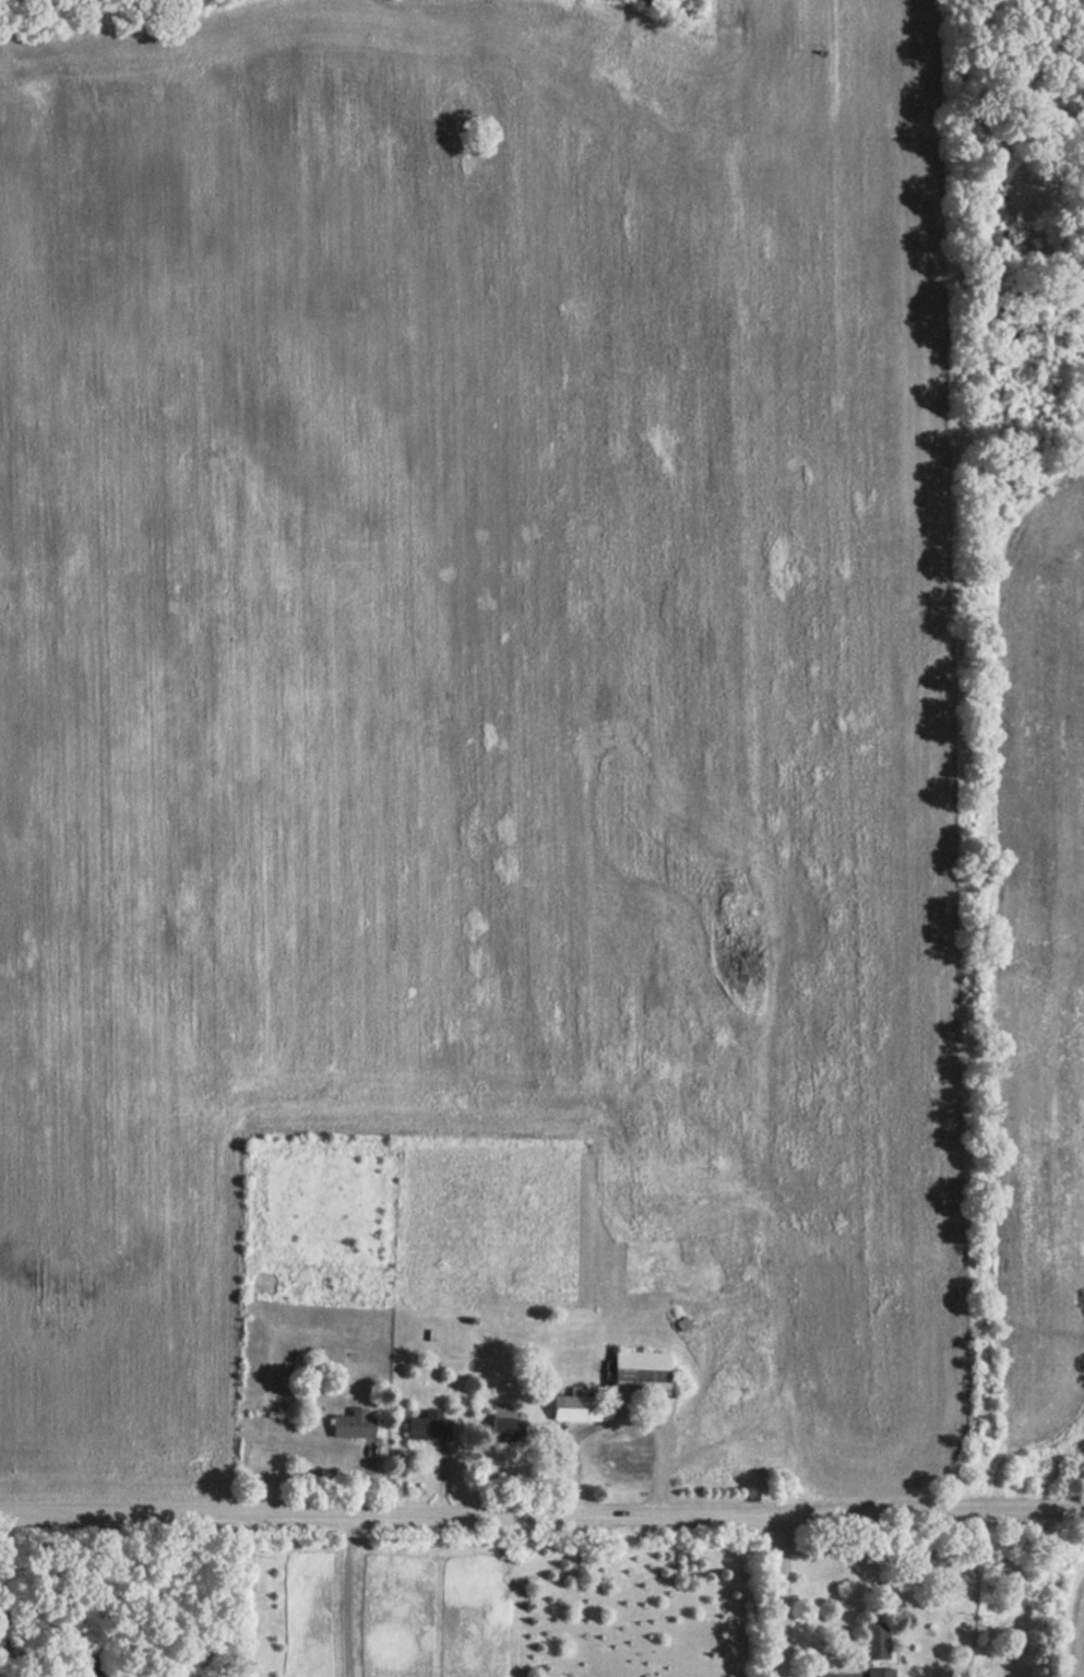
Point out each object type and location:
building: (636, 1371)
building: (571, 1407)
road: (620, 1419)
building: (349, 1424)
building: (425, 1426)
building: (500, 1430)
building: (622, 1454)
road: (541, 1513)
road: (345, 1594)
road: (778, 1596)
road: (4, 1601)
road: (248, 1608)
building: (872, 1642)
building: (879, 1672)

